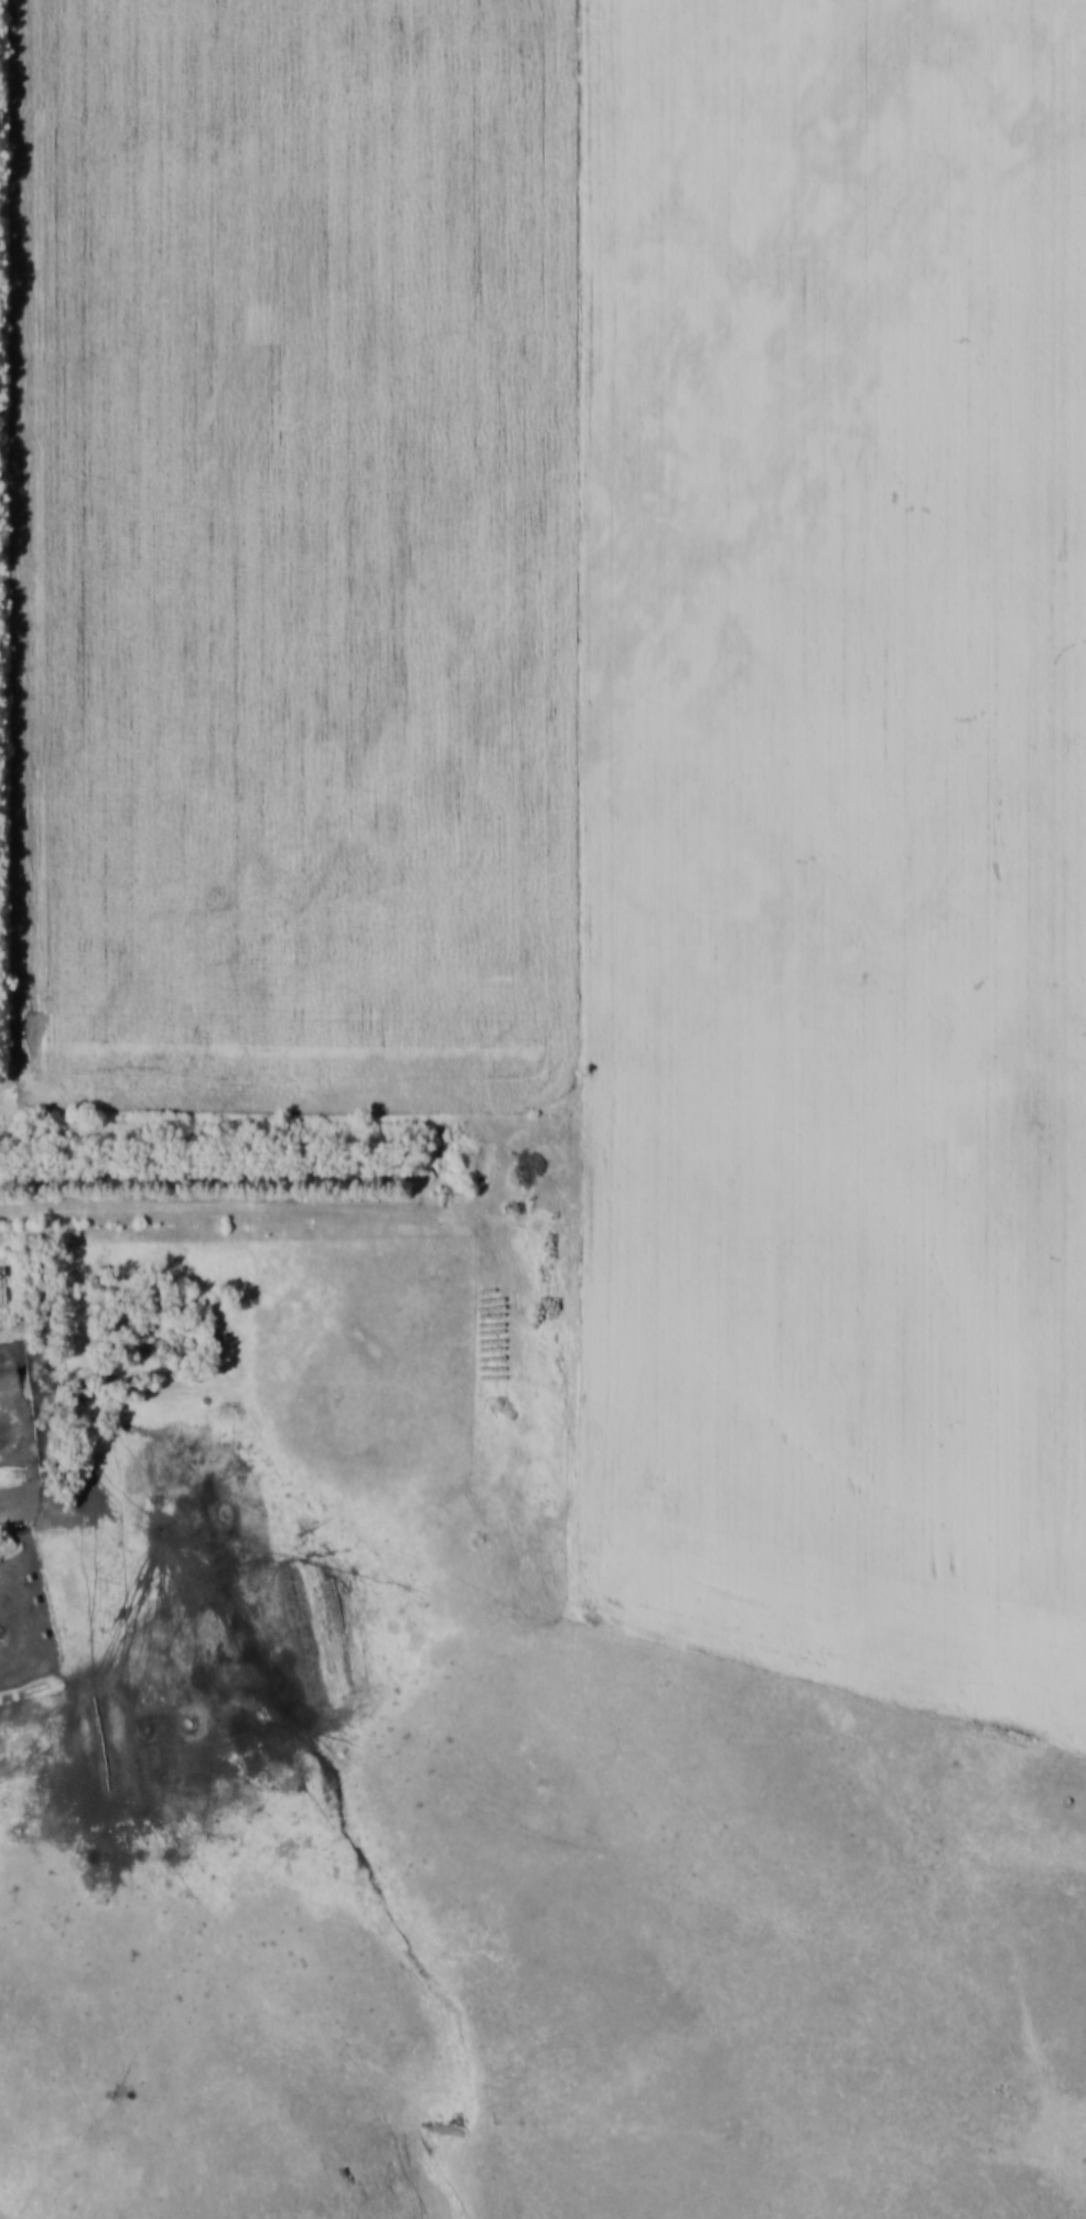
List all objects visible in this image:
building: (546, 1427)
road: (72, 1513)

